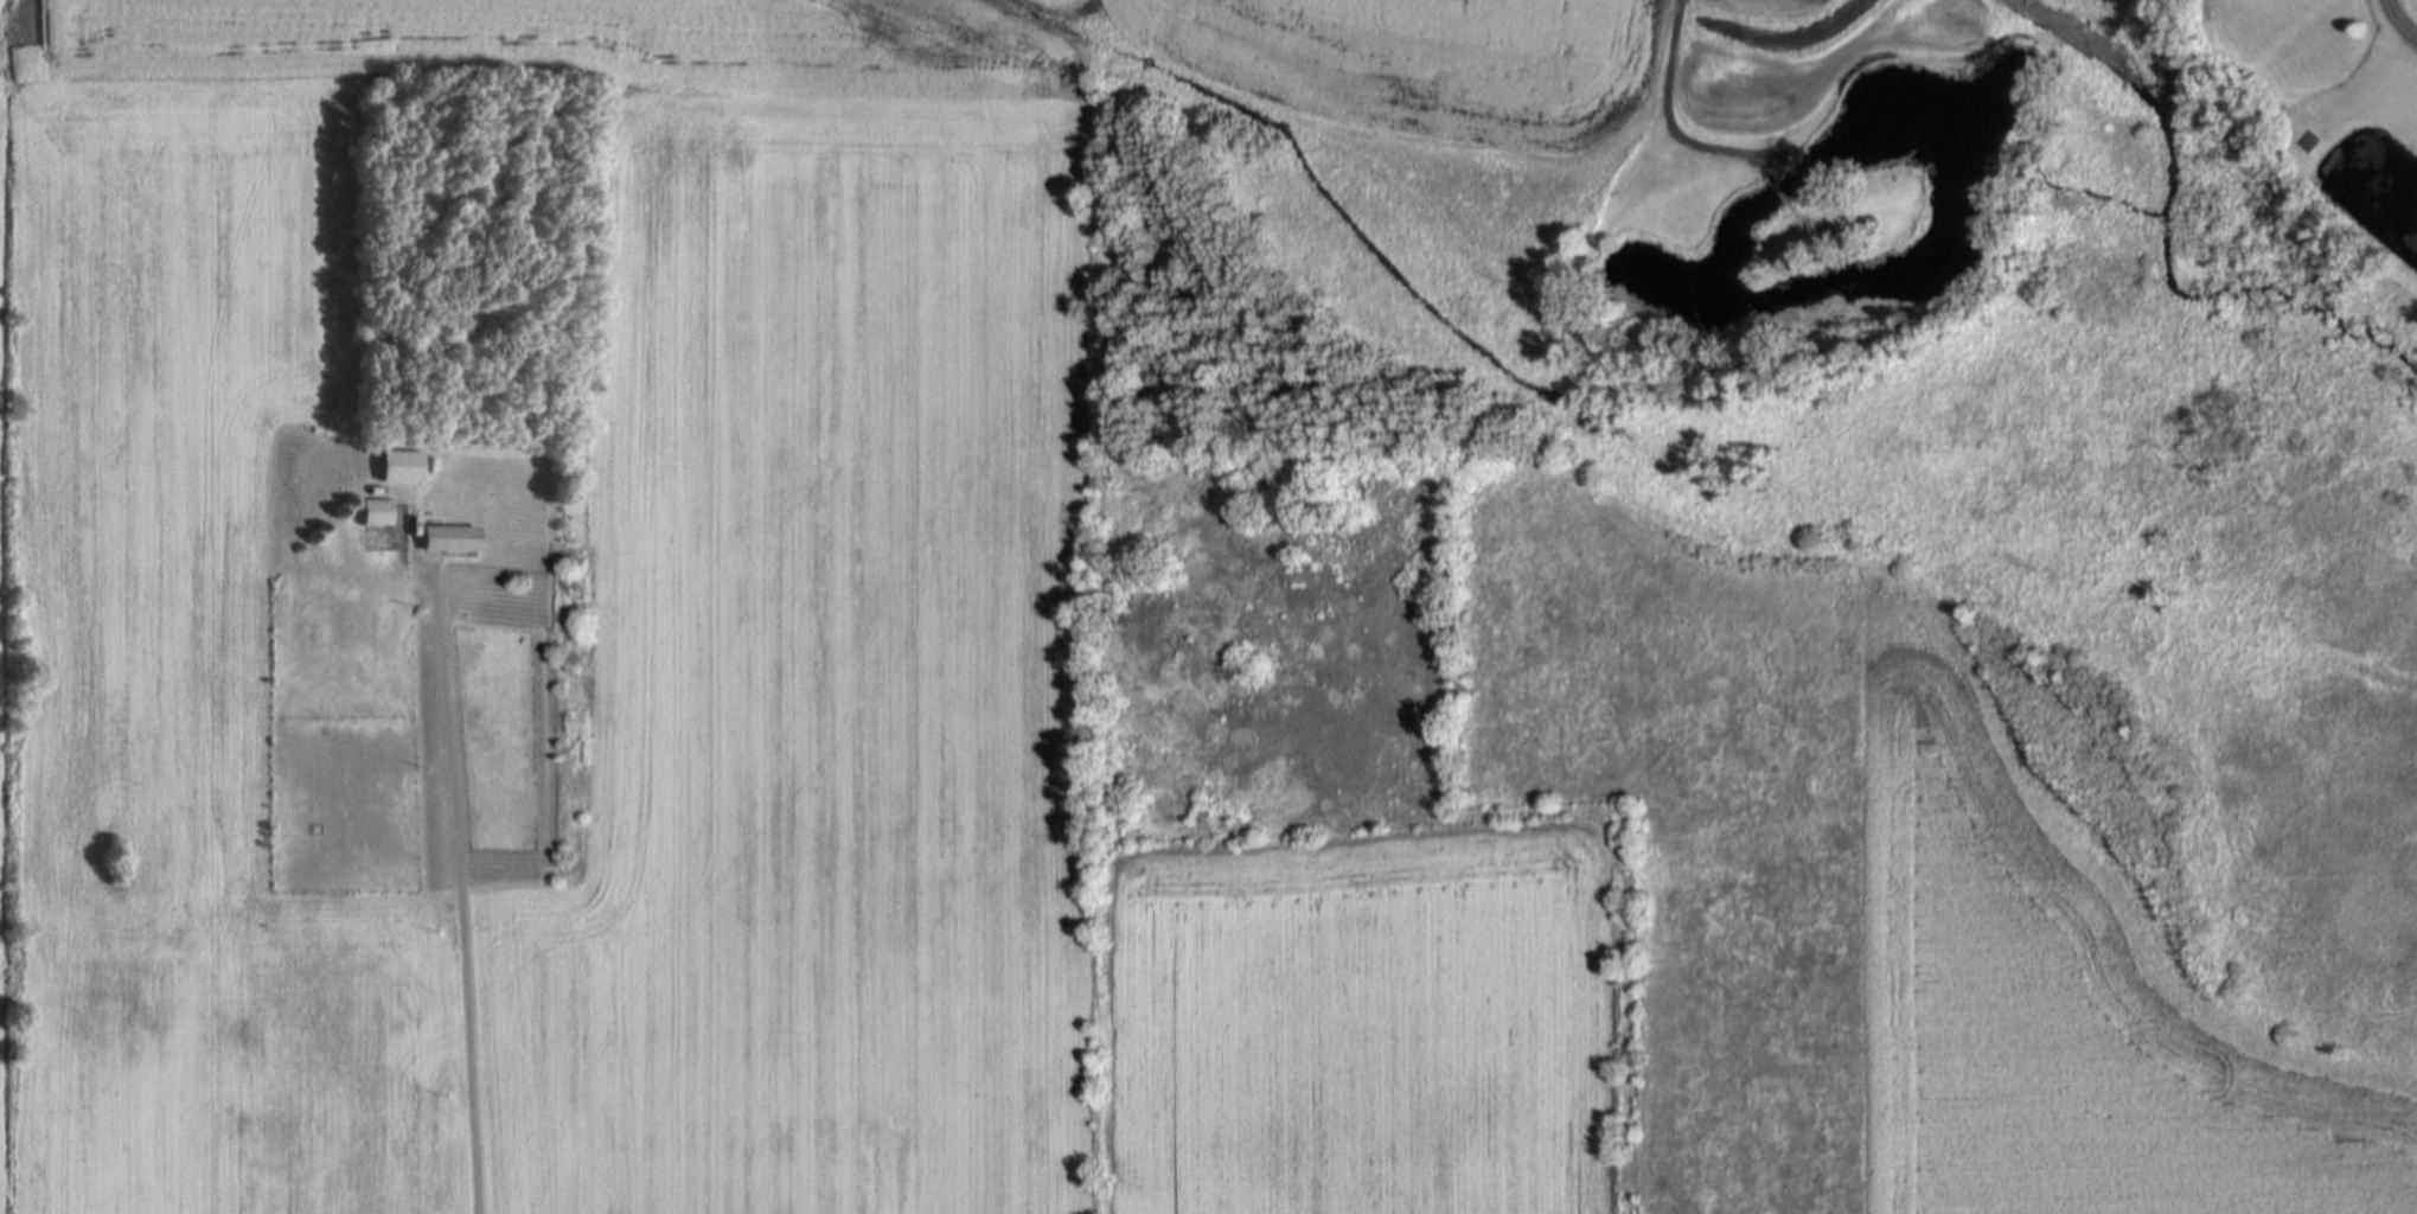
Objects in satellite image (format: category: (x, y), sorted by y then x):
road: (2398, 21)
road: (2061, 46)
building: (403, 467)
building: (377, 511)
building: (453, 537)
road: (455, 854)

